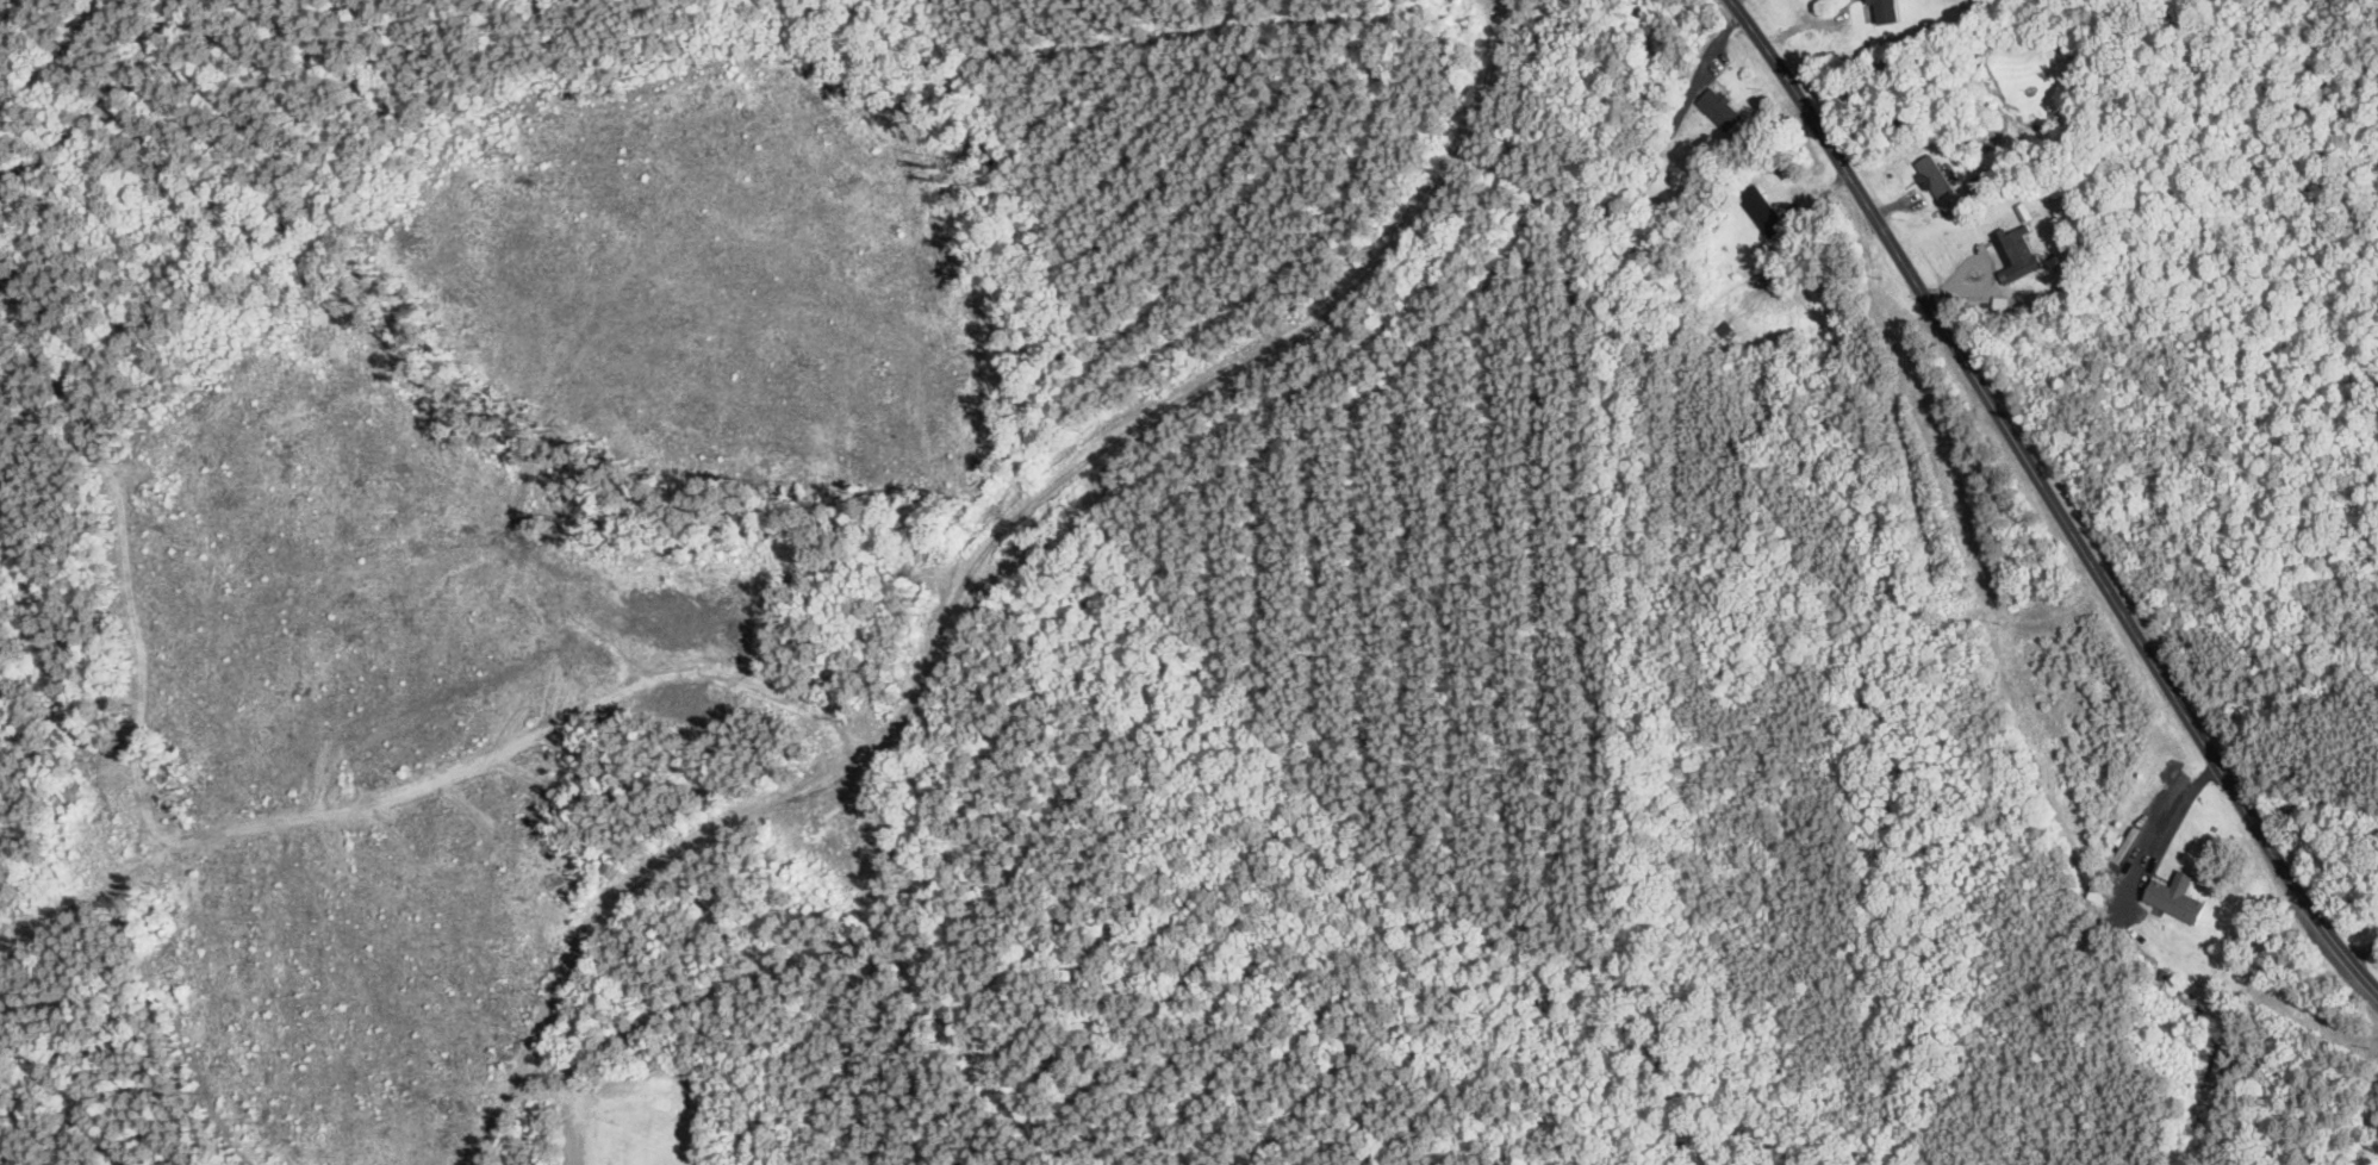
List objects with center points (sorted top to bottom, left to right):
road: (1735, 1)
building: (1887, 12)
road: (1096, 42)
building: (1723, 111)
building: (1936, 179)
building: (1766, 212)
building: (2019, 255)
building: (1723, 335)
road: (2052, 498)
building: (2178, 903)

